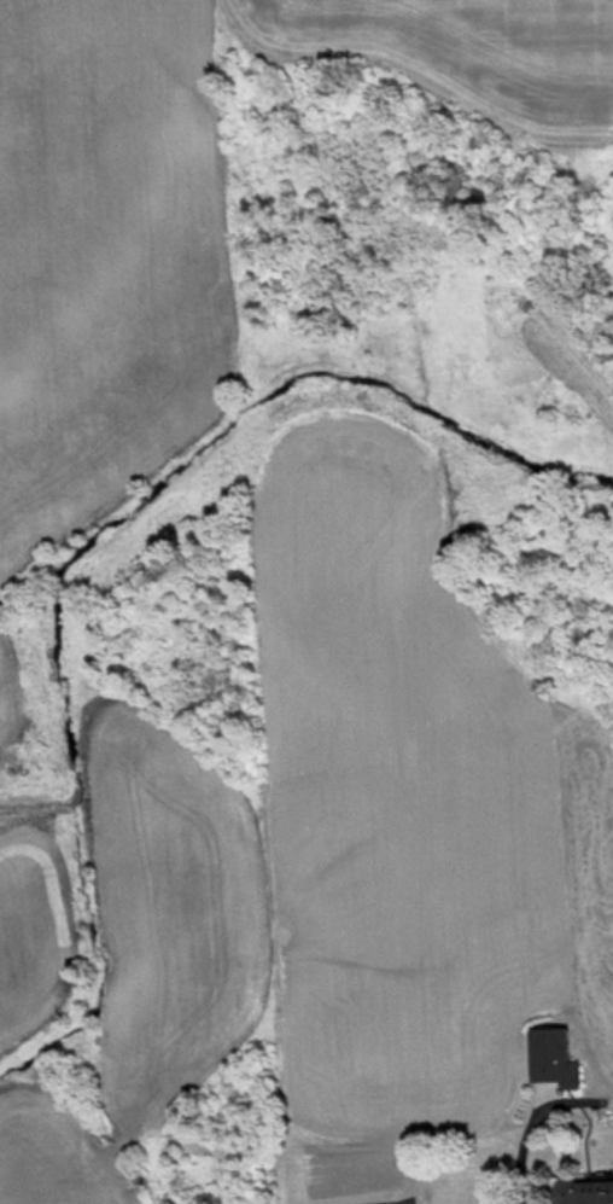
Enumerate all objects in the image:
building: (560, 1062)
building: (586, 1193)

